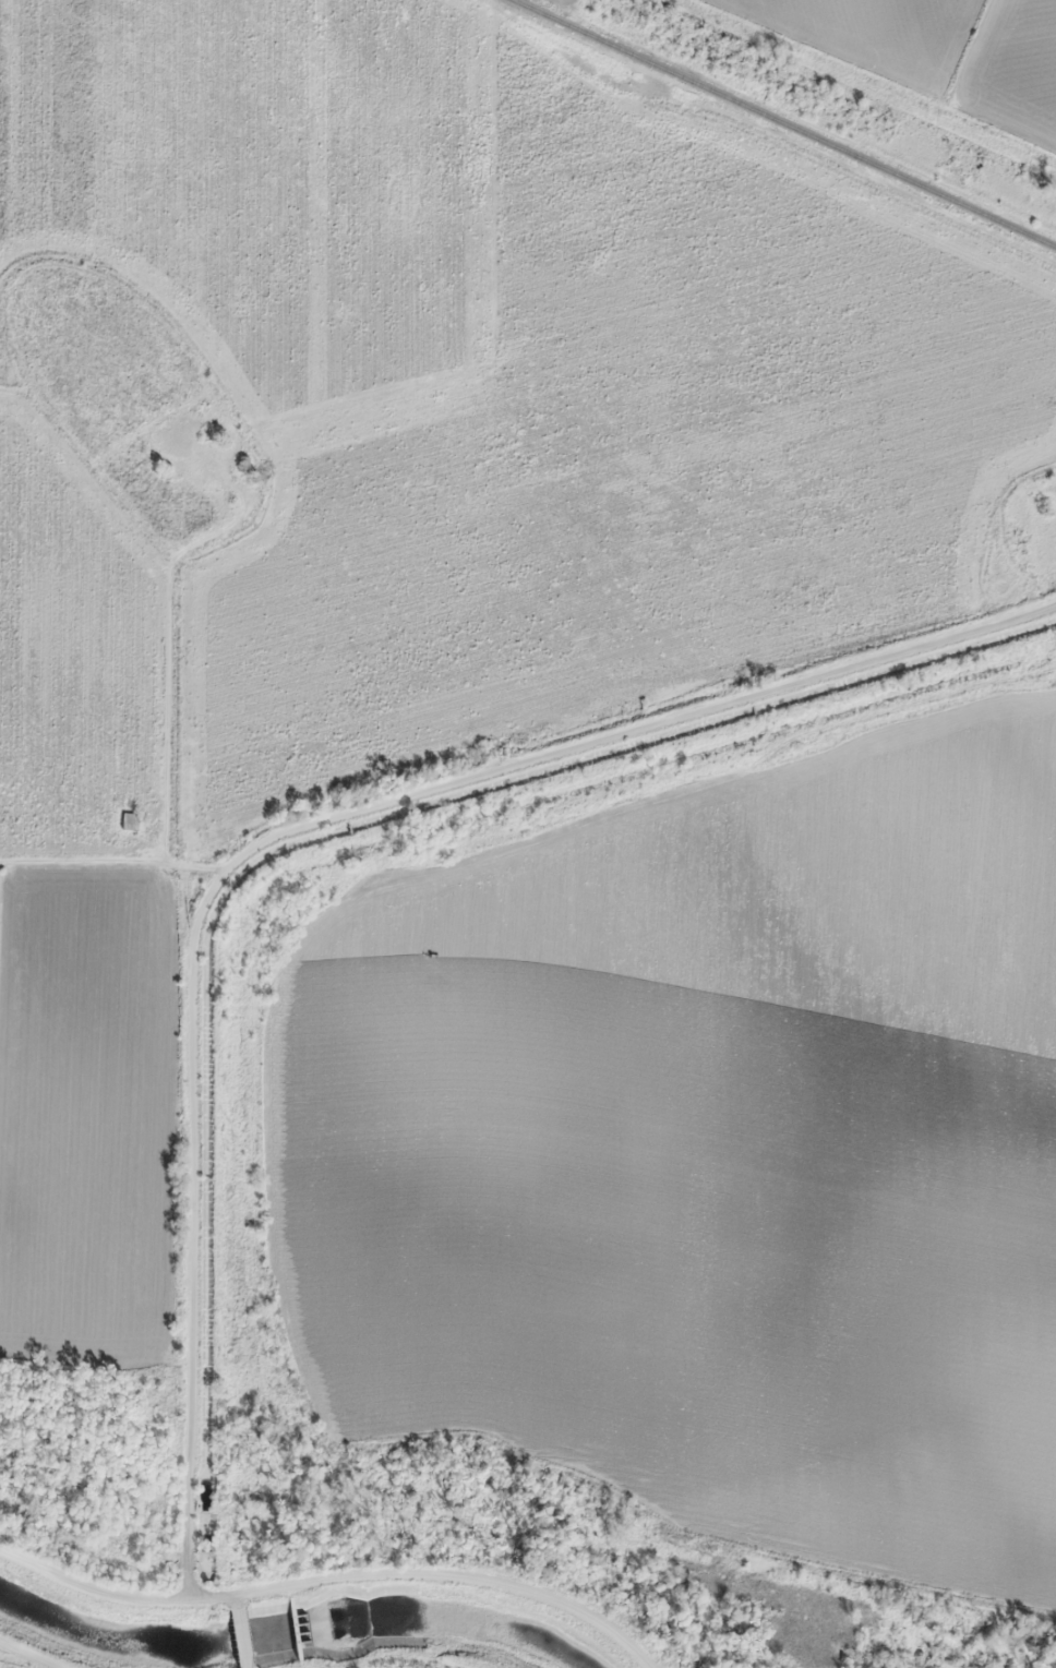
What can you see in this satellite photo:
railway: (784, 123)

